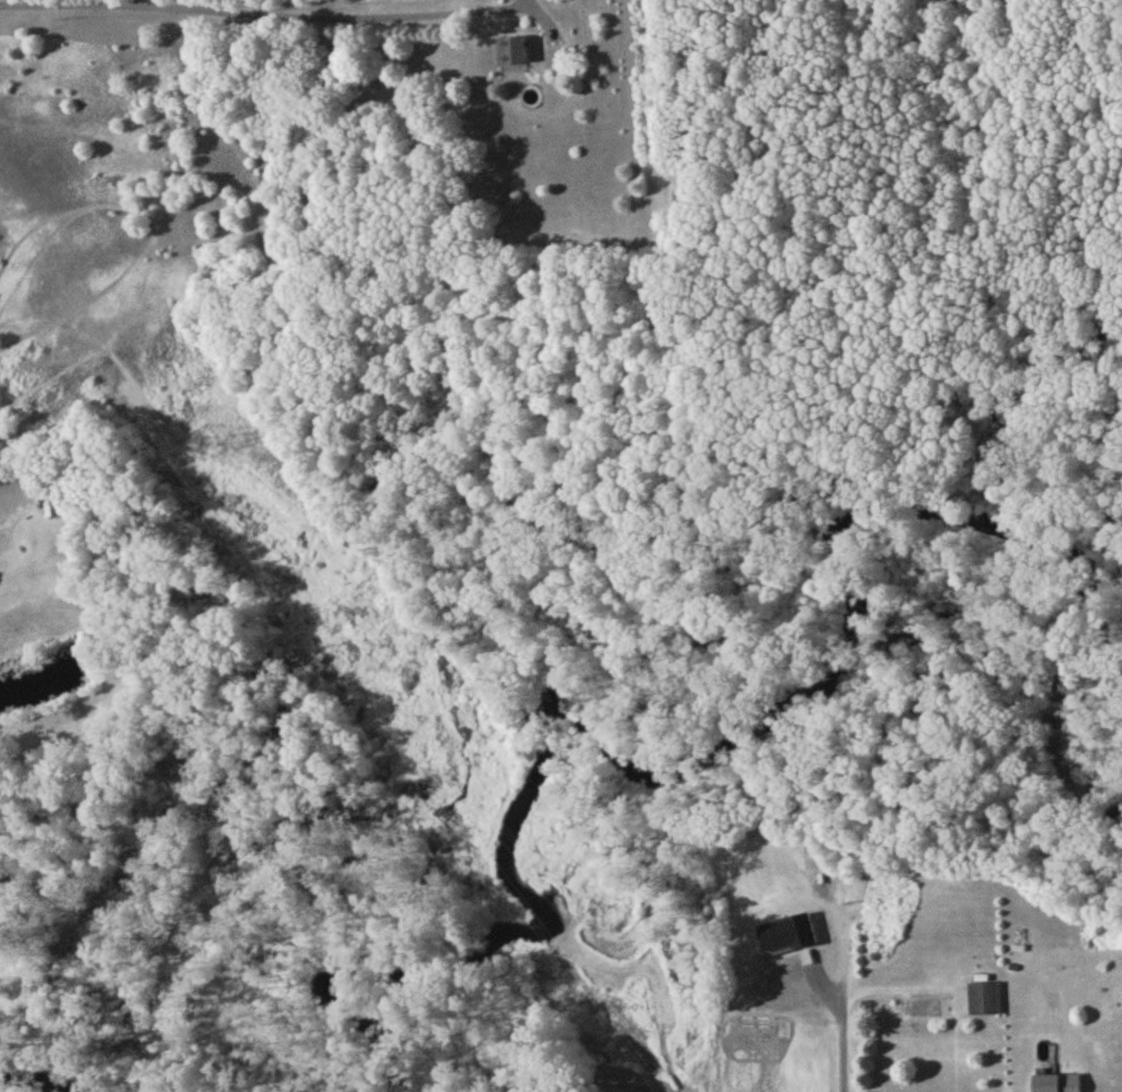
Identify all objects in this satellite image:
road: (261, 13)
building: (513, 56)
power tower: (202, 445)
building: (819, 861)
building: (761, 866)
road: (843, 990)
building: (983, 1002)
building: (1057, 1084)

